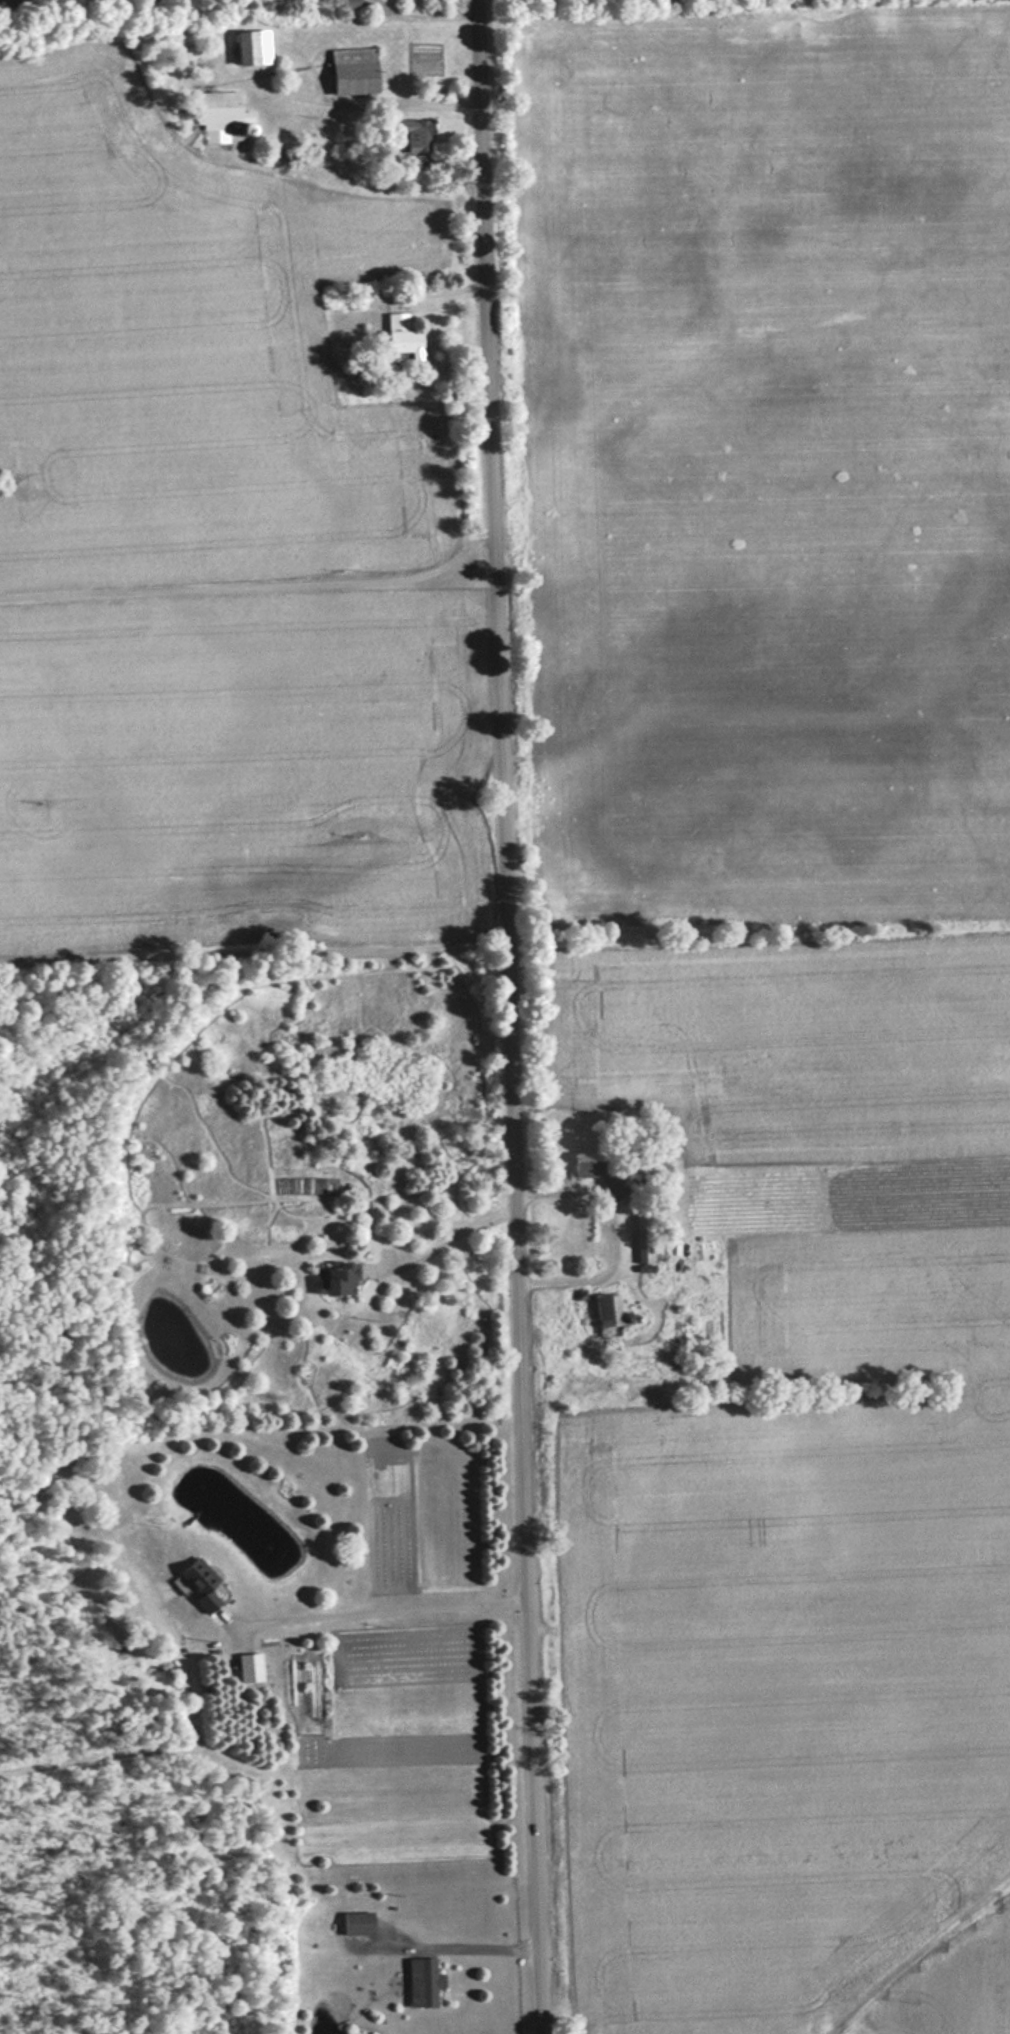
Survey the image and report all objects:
building: (350, 4)
building: (252, 47)
building: (353, 71)
building: (216, 108)
building: (416, 137)
building: (401, 335)
road: (509, 1017)
building: (599, 1175)
building: (642, 1238)
road: (457, 1239)
building: (339, 1279)
building: (606, 1312)
building: (679, 1323)
building: (198, 1583)
road: (387, 1612)
building: (358, 1922)
building: (423, 1981)

